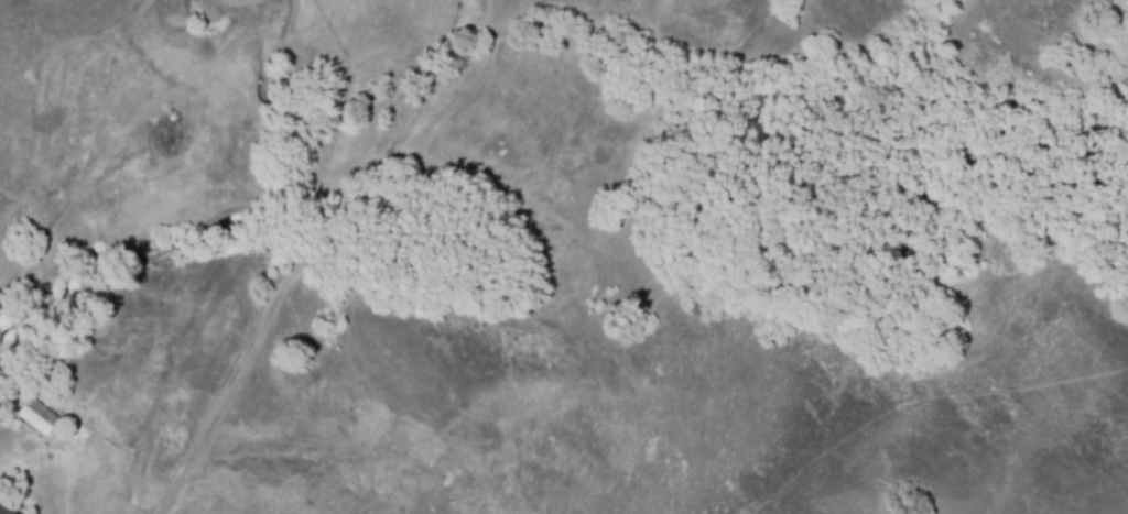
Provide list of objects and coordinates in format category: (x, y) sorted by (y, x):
road: (299, 248)
building: (3, 510)

